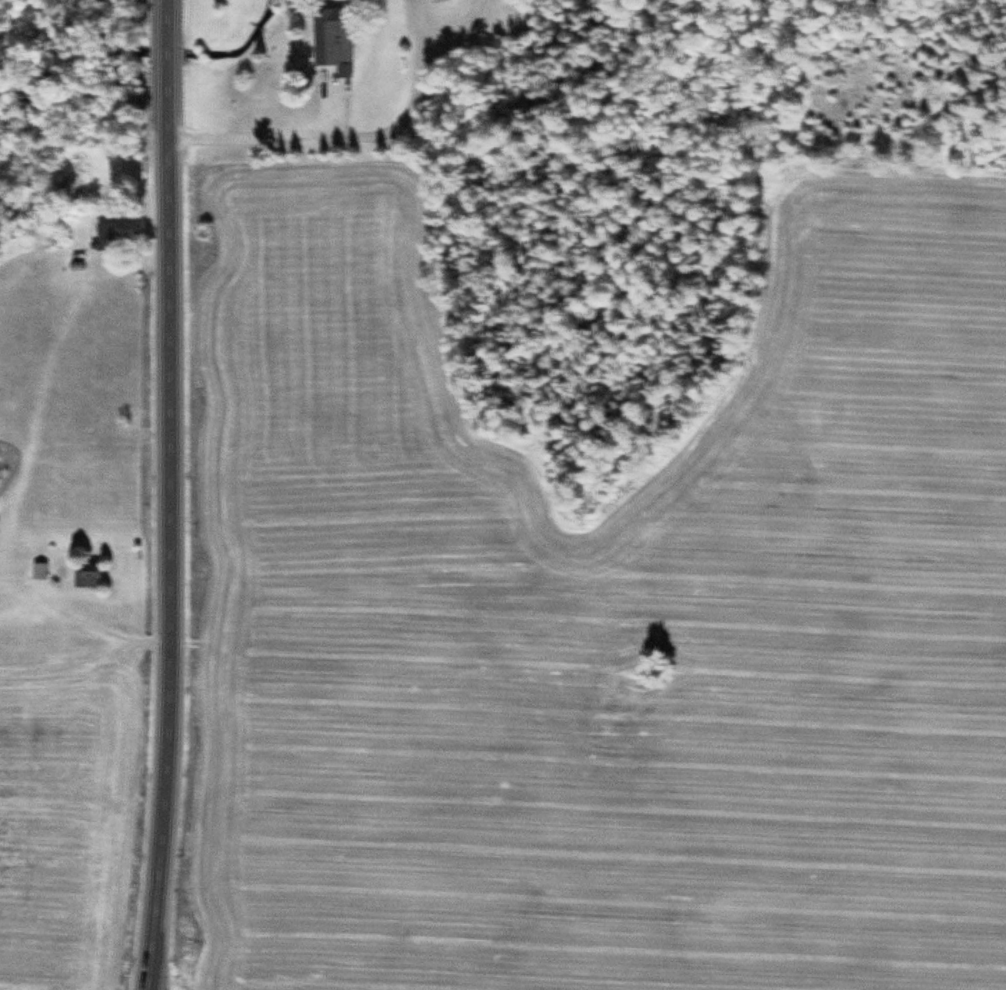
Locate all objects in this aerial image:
building: (445, 5)
building: (334, 41)
building: (106, 238)
road: (174, 495)
building: (89, 578)

